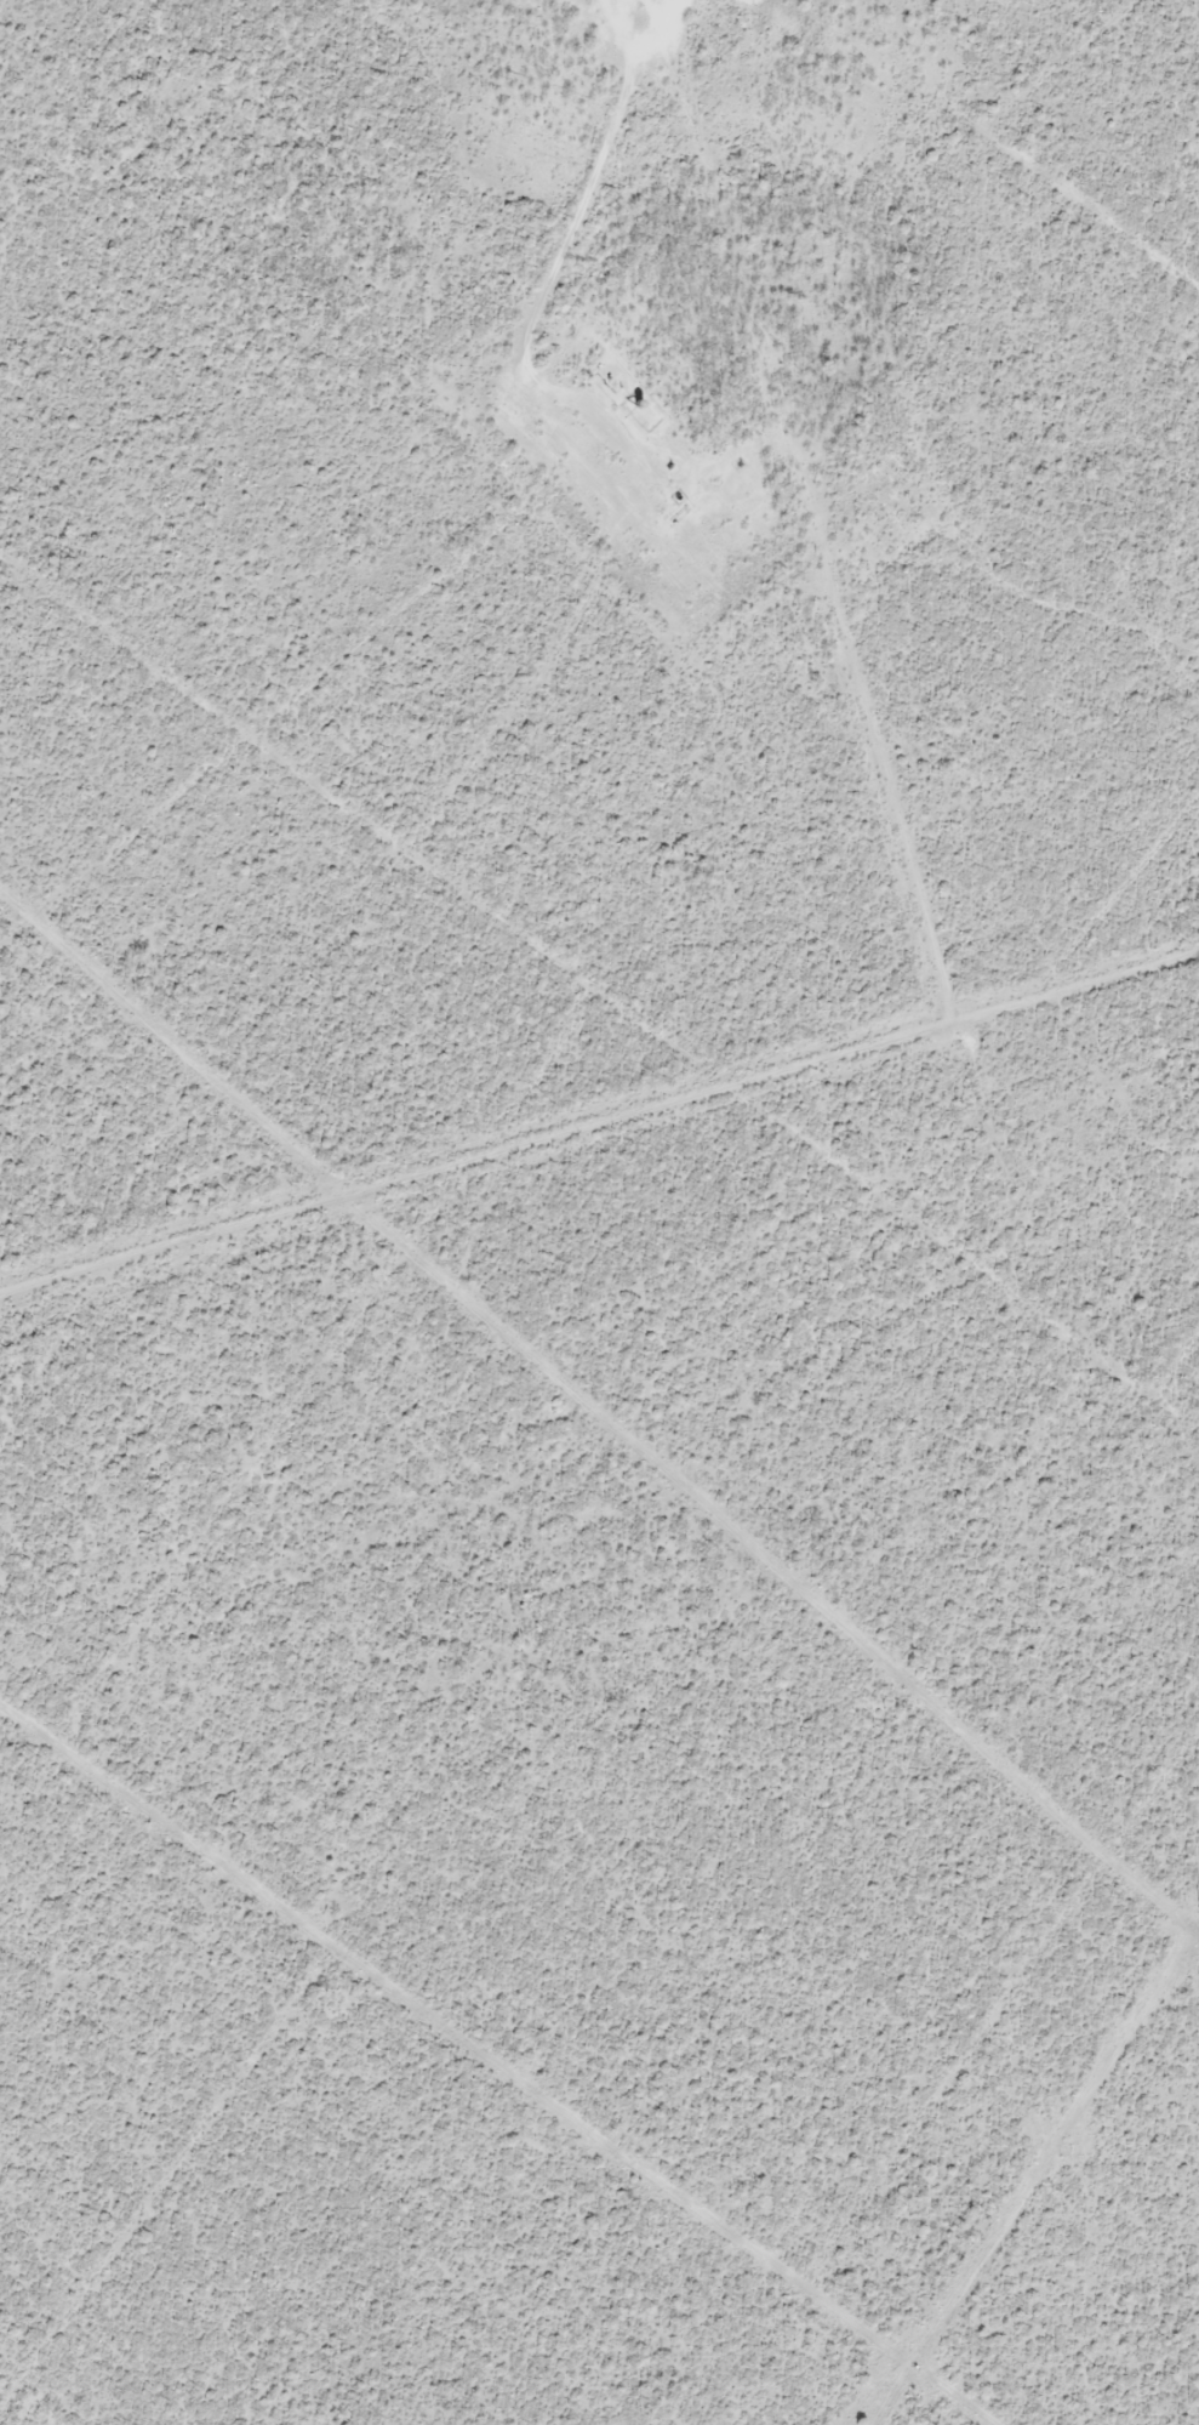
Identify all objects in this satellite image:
road: (1086, 389)

